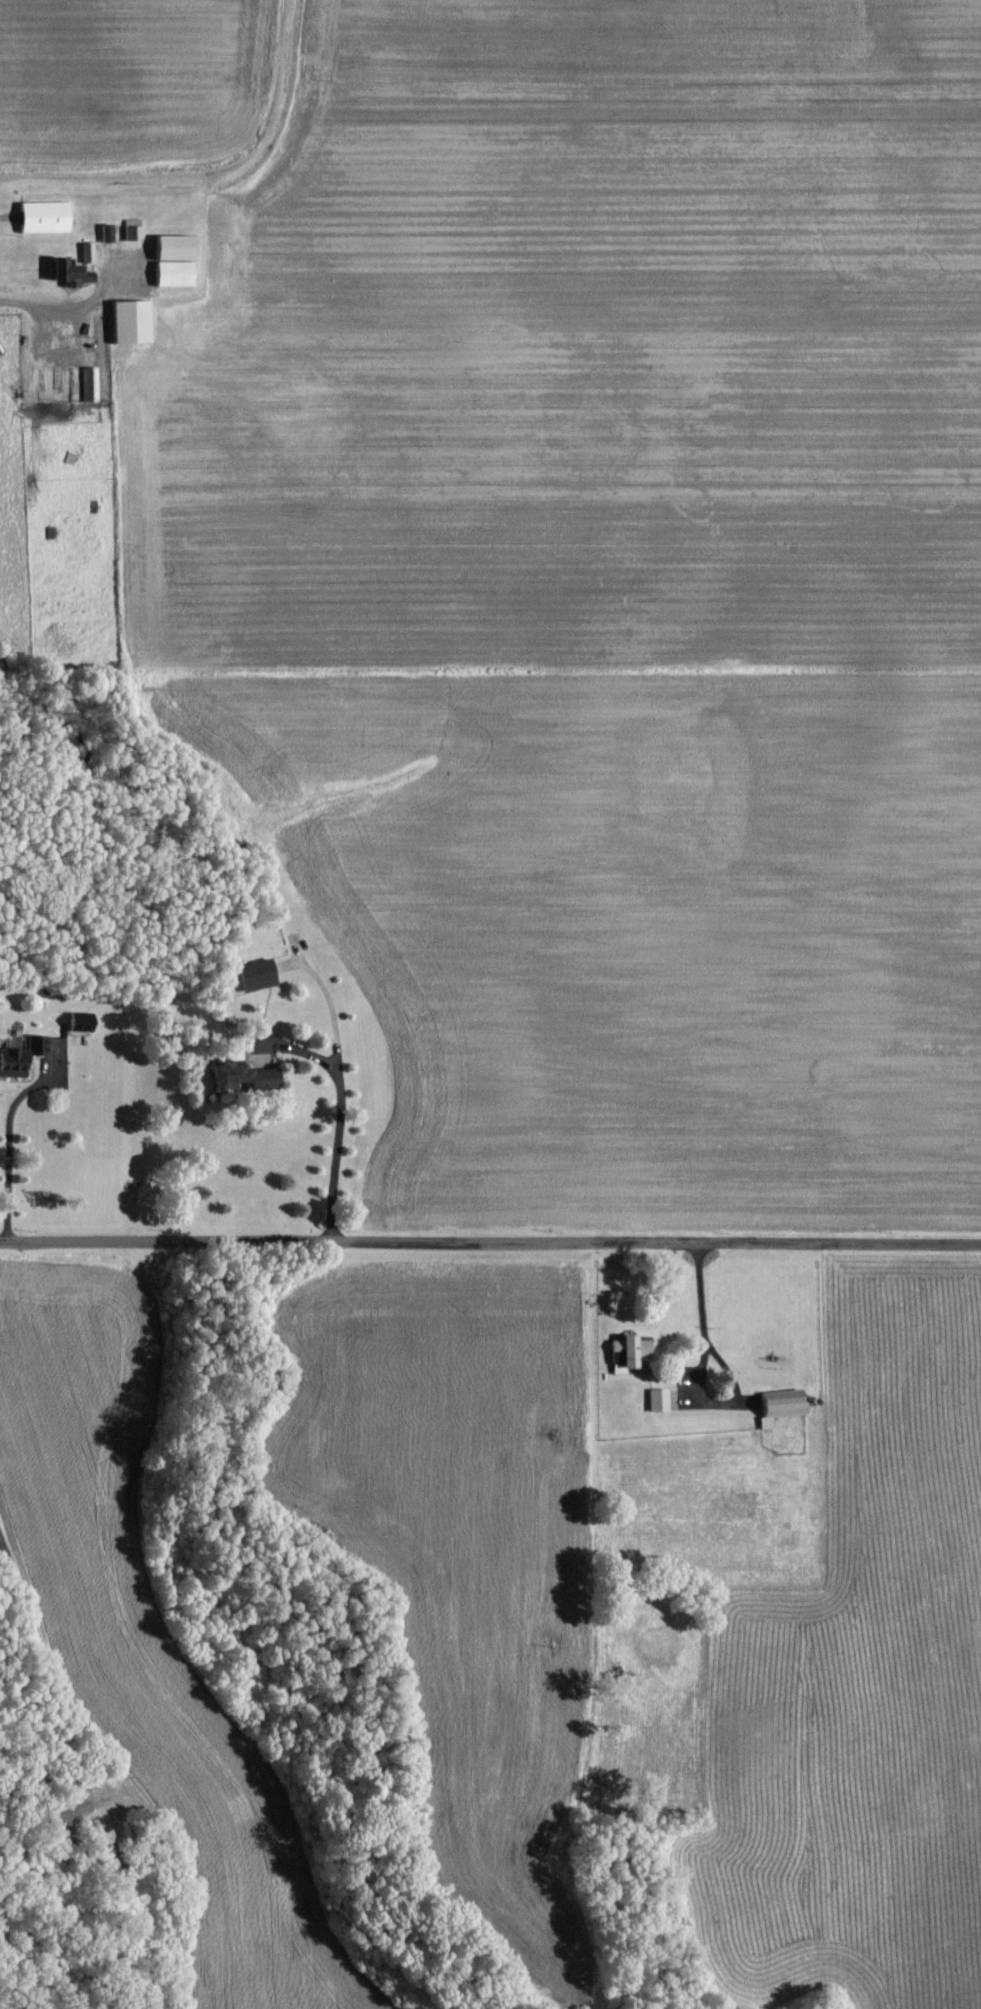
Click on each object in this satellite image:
building: (41, 218)
building: (130, 230)
building: (170, 261)
building: (70, 269)
road: (32, 305)
building: (128, 323)
building: (88, 385)
building: (252, 977)
building: (20, 1058)
building: (236, 1077)
road: (340, 1111)
road: (10, 1134)
road: (490, 1241)
road: (702, 1369)
building: (655, 1400)

